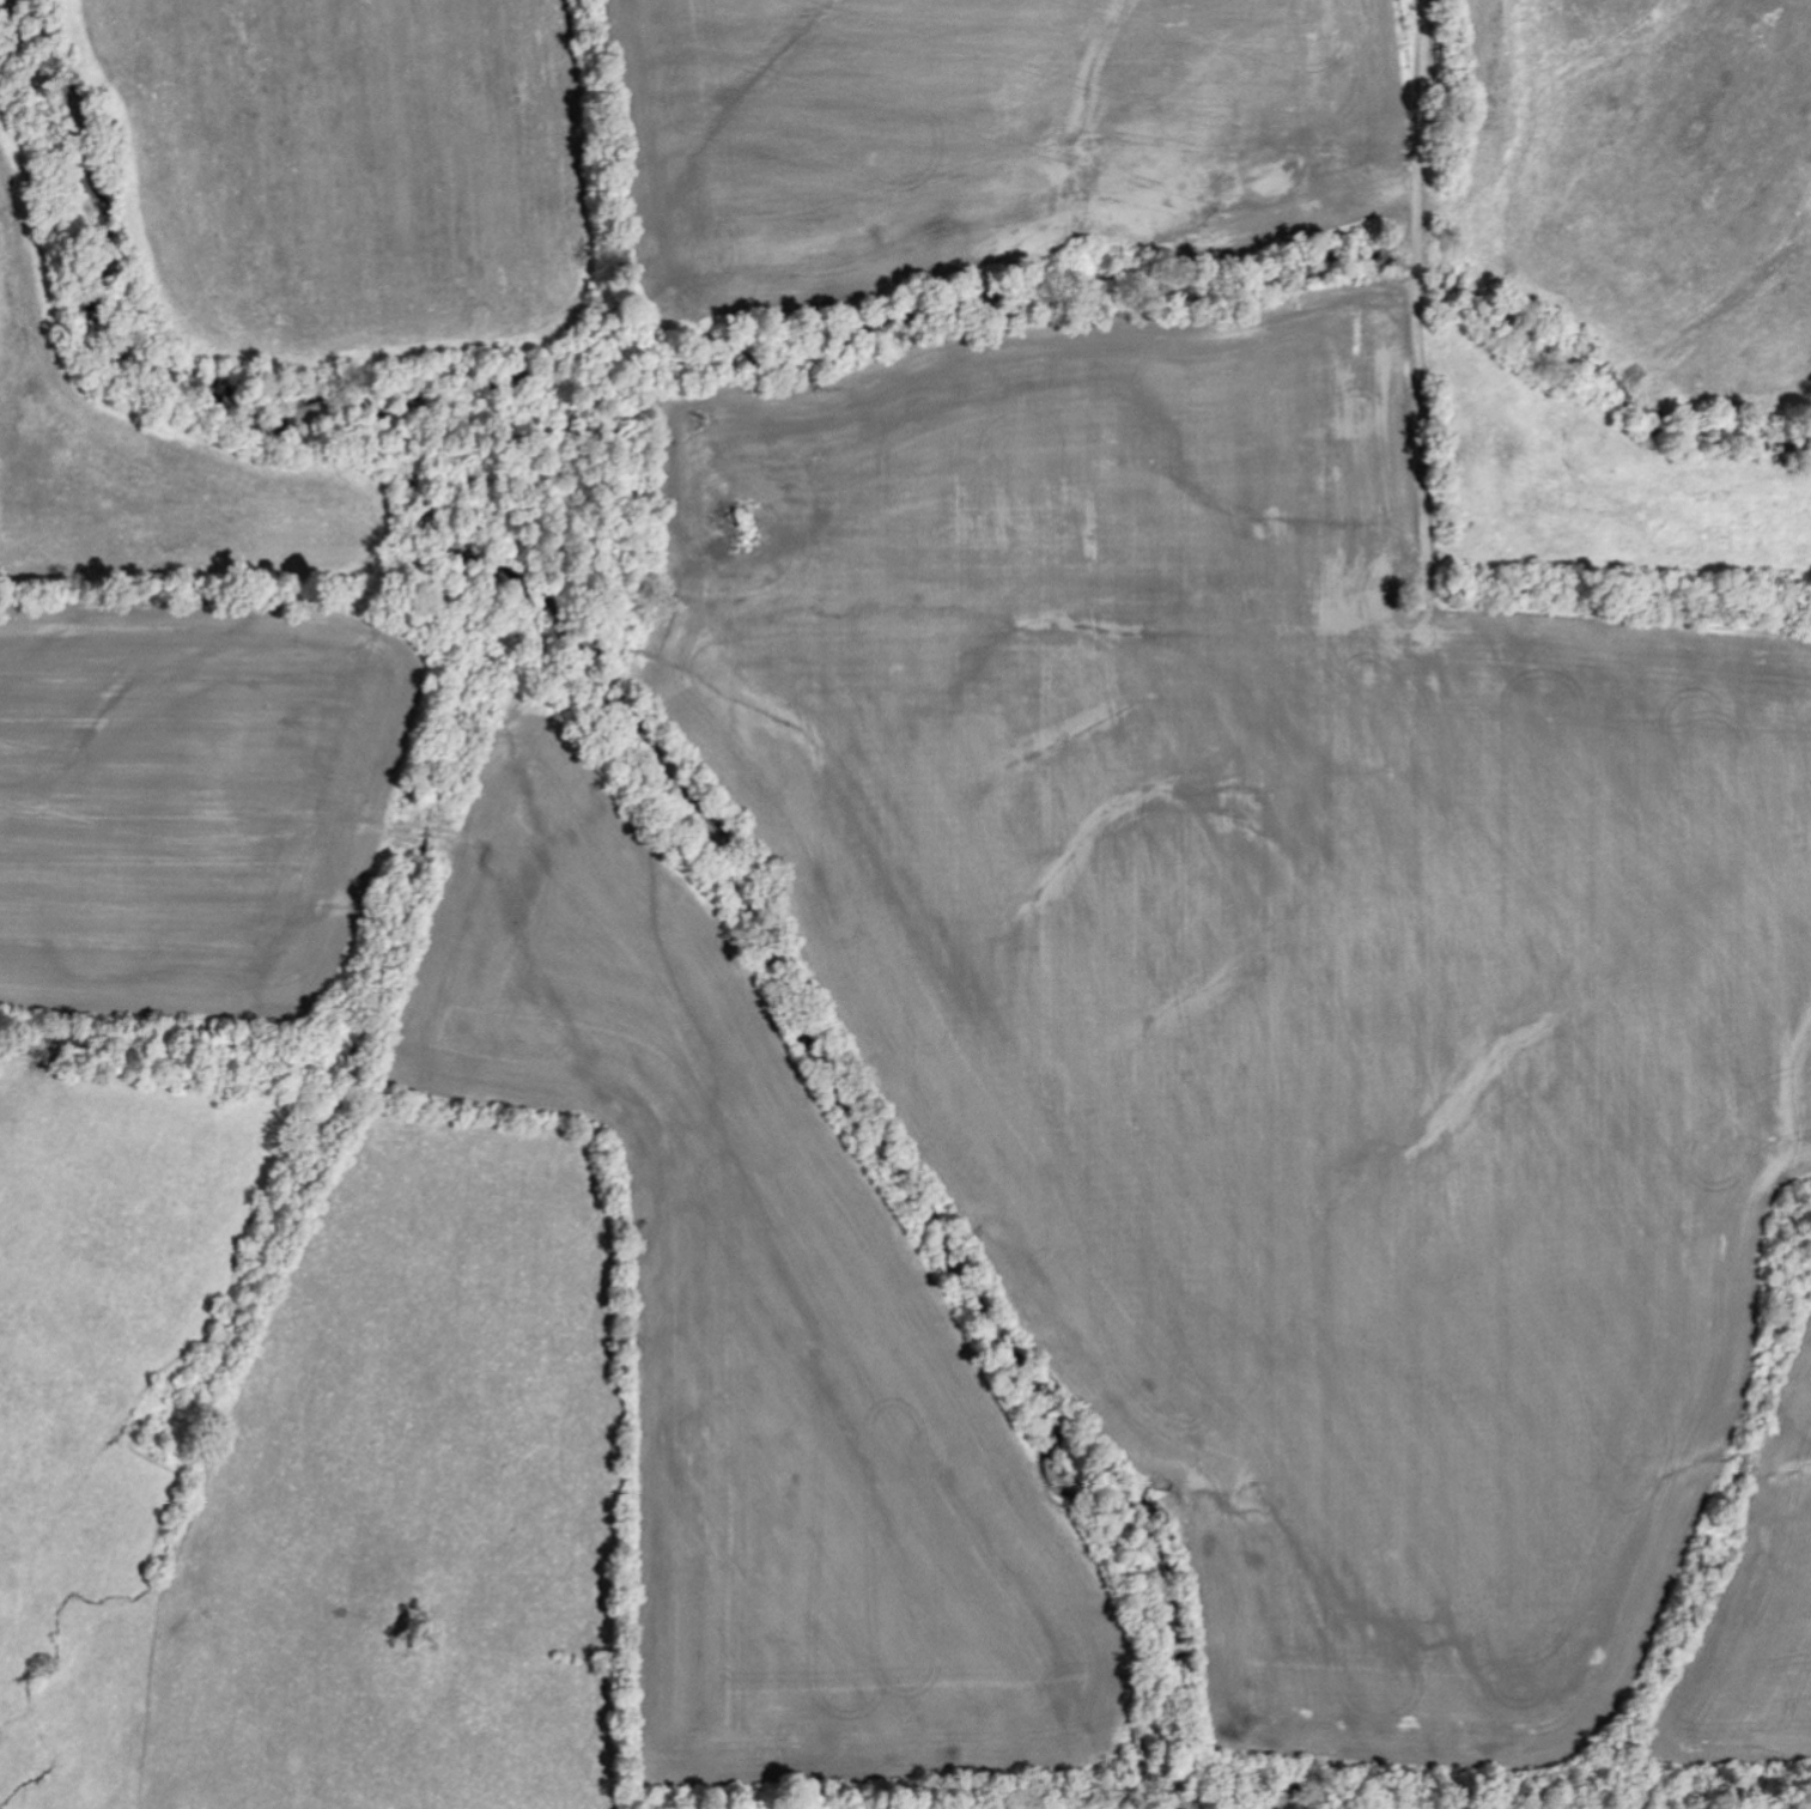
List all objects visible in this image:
road: (1421, 306)

